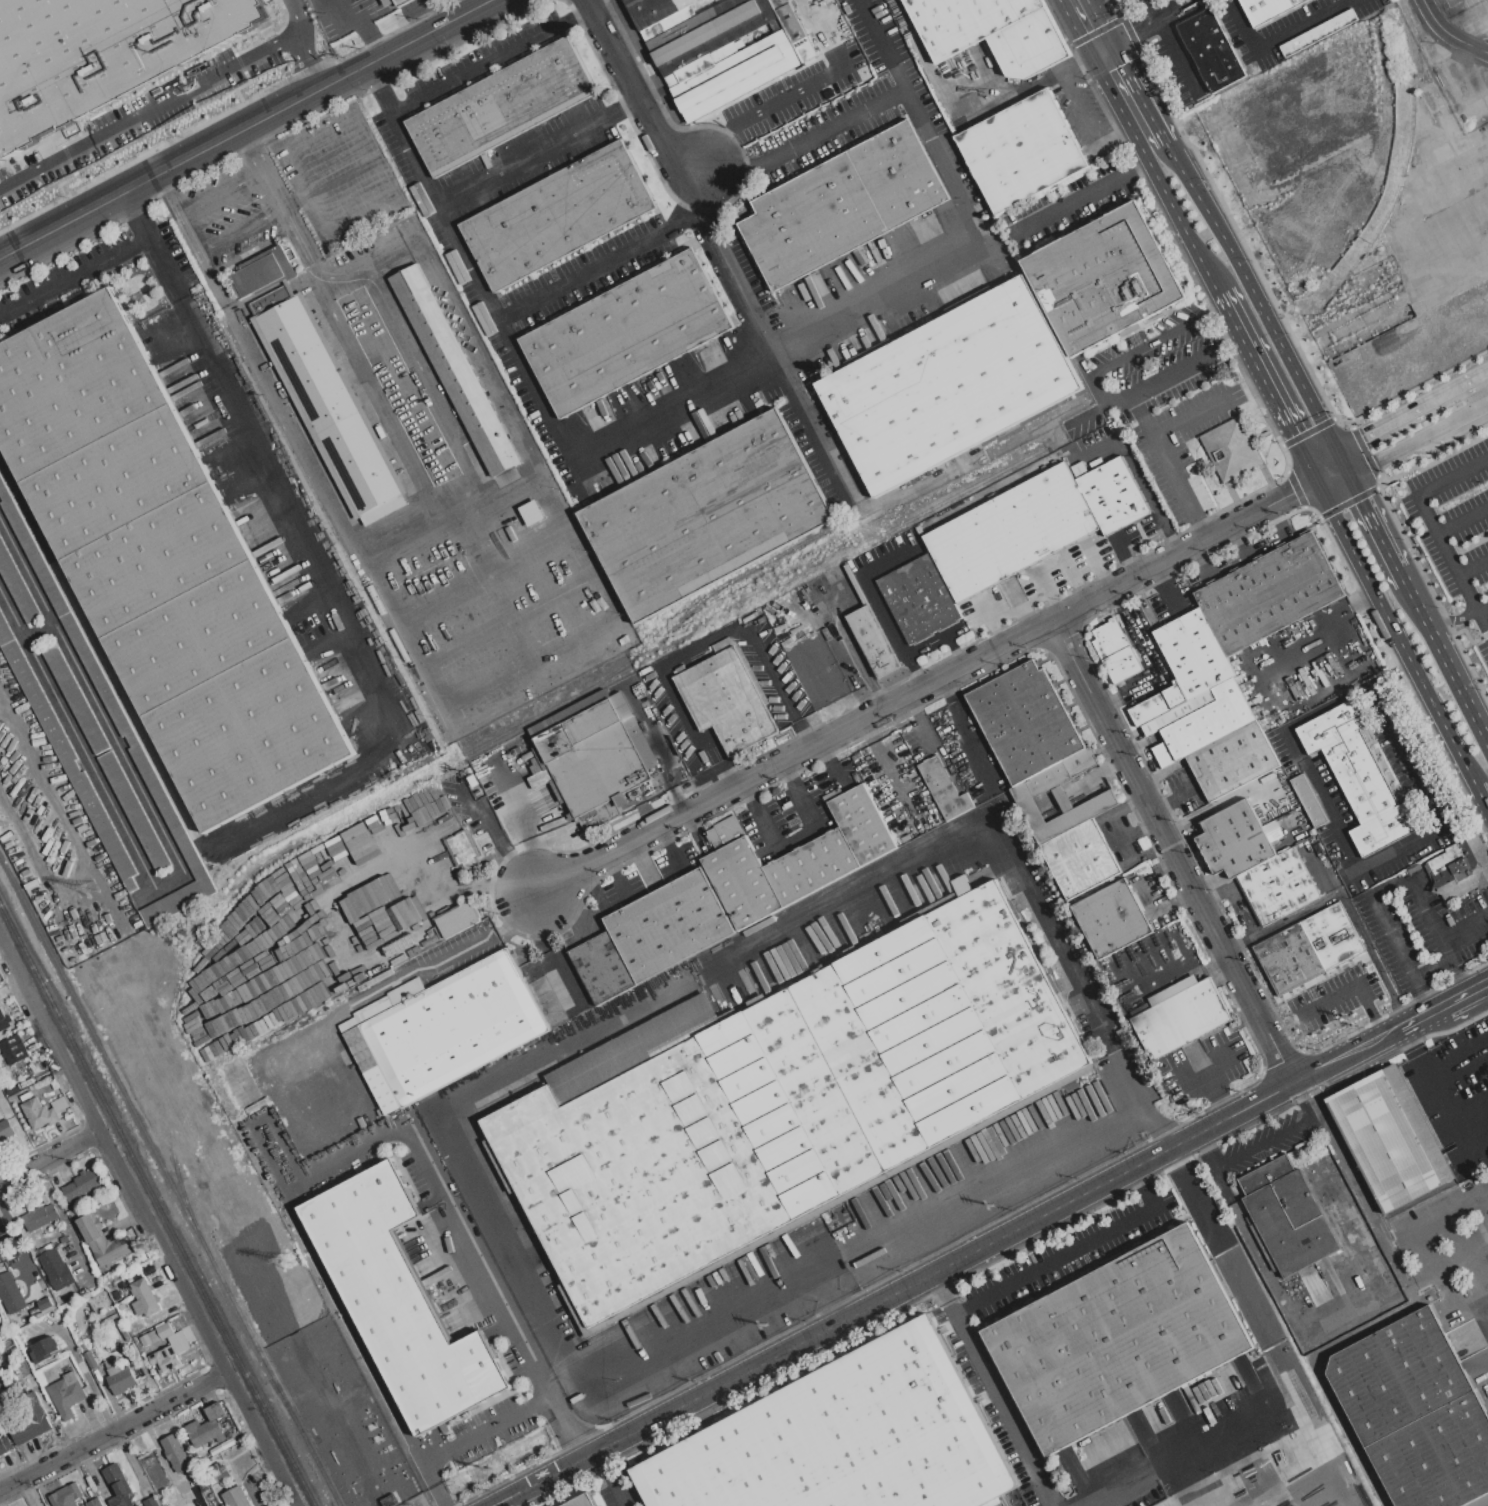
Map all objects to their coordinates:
road: (589, 1)
building: (395, 2)
road: (1153, 9)
road: (1175, 9)
building: (1267, 9)
road: (583, 15)
road: (362, 24)
road: (1085, 24)
road: (1242, 25)
road: (1303, 25)
road: (1477, 30)
building: (992, 31)
building: (1318, 32)
road: (1449, 33)
road: (1127, 34)
road: (882, 44)
road: (300, 46)
building: (719, 46)
traffic signals: (1097, 50)
building: (1210, 50)
building: (99, 54)
road: (1177, 57)
road: (1080, 61)
road: (1020, 87)
road: (379, 88)
road: (436, 89)
road: (1117, 89)
road: (635, 91)
road: (794, 93)
building: (500, 106)
road: (1080, 106)
road: (622, 107)
road: (150, 113)
road: (246, 128)
road: (1114, 128)
road: (1160, 132)
building: (1021, 151)
road: (734, 166)
road: (1138, 167)
road: (259, 169)
road: (219, 193)
road: (695, 198)
road: (1074, 202)
building: (841, 204)
road: (177, 213)
road: (1172, 213)
building: (557, 214)
road: (134, 215)
road: (681, 221)
road: (237, 229)
road: (297, 242)
road: (468, 264)
building: (263, 271)
building: (1103, 278)
road: (740, 293)
road: (1258, 307)
road: (1215, 310)
road: (858, 318)
building: (626, 332)
road: (467, 334)
road: (1234, 341)
building: (453, 369)
road: (417, 371)
building: (948, 386)
road: (1266, 386)
building: (1364, 386)
road: (1481, 390)
road: (1097, 392)
road: (1481, 396)
road: (376, 404)
building: (328, 405)
road: (1448, 408)
road: (1091, 412)
road: (232, 416)
road: (1186, 418)
traffic signals: (1292, 435)
road: (1383, 443)
building: (1230, 449)
traffic signals: (1368, 452)
road: (1163, 457)
road: (1330, 472)
road: (1138, 475)
road: (1453, 477)
building: (1396, 491)
traffic signals: (1292, 492)
building: (1113, 495)
traffic signals: (1362, 500)
building: (531, 513)
building: (706, 514)
road: (465, 520)
road: (1463, 520)
road: (1374, 525)
road: (1202, 528)
building: (919, 529)
building: (1010, 531)
road: (404, 550)
road: (1448, 553)
building: (162, 563)
road: (1474, 568)
building: (835, 574)
building: (17, 586)
road: (872, 592)
building: (1268, 593)
building: (919, 598)
road: (1113, 598)
road: (1482, 608)
road: (1343, 612)
building: (67, 619)
road: (1452, 619)
road: (1482, 620)
road: (38, 632)
road: (1394, 633)
building: (872, 641)
road: (701, 650)
road: (918, 650)
road: (955, 650)
building: (1115, 651)
road: (856, 657)
road: (1146, 658)
road: (1448, 661)
road: (417, 666)
building: (815, 668)
road: (928, 683)
road: (947, 689)
building: (727, 697)
building: (76, 699)
road: (1108, 701)
road: (914, 706)
building: (1205, 711)
building: (1025, 722)
road: (928, 731)
road: (968, 744)
road: (1407, 752)
building: (66, 756)
building: (591, 757)
road: (156, 758)
road: (830, 763)
building: (1359, 775)
building: (944, 789)
building: (1026, 793)
road: (1482, 796)
building: (1308, 800)
road: (1321, 801)
building: (134, 811)
road: (1119, 824)
road: (793, 838)
building: (1237, 839)
road: (1173, 849)
building: (464, 850)
road: (76, 851)
building: (1079, 858)
road: (177, 861)
building: (1459, 869)
building: (1278, 885)
power tower: (90, 886)
road: (1389, 888)
building: (726, 895)
road: (850, 897)
road: (1155, 912)
building: (1111, 918)
building: (457, 920)
road: (1465, 928)
road: (1055, 939)
building: (1323, 944)
road: (1433, 970)
road: (1461, 978)
road: (394, 980)
road: (1351, 987)
road: (1422, 996)
road: (1459, 1000)
building: (1178, 1015)
power tower: (1350, 1017)
road: (1416, 1019)
building: (4, 1020)
road: (1400, 1026)
building: (442, 1029)
road: (1390, 1031)
road: (1409, 1040)
building: (12, 1049)
road: (1459, 1063)
road: (1423, 1067)
road: (1208, 1075)
building: (27, 1082)
building: (12, 1089)
building: (25, 1096)
road: (1217, 1096)
power tower: (1195, 1097)
building: (780, 1099)
road: (1441, 1100)
road: (1139, 1103)
building: (59, 1104)
road: (1470, 1111)
building: (39, 1113)
road: (1313, 1116)
building: (5, 1130)
building: (1389, 1138)
road: (1258, 1145)
road: (1465, 1145)
road: (50, 1156)
road: (1014, 1173)
road: (1138, 1179)
railway: (169, 1181)
building: (81, 1186)
road: (1486, 1194)
railway: (157, 1204)
building: (73, 1211)
building: (1287, 1215)
building: (39, 1217)
road: (149, 1223)
building: (2, 1227)
road: (1420, 1228)
building: (1356, 1239)
building: (102, 1240)
road: (462, 1242)
road: (1253, 1243)
power tower: (150, 1246)
road: (1393, 1247)
building: (2, 1256)
building: (70, 1256)
power tower: (285, 1261)
building: (56, 1269)
building: (148, 1269)
road: (936, 1270)
road: (1479, 1271)
road: (516, 1276)
building: (129, 1279)
building: (10, 1293)
road: (941, 1294)
building: (115, 1295)
building: (144, 1298)
building: (398, 1299)
building: (41, 1307)
road: (837, 1307)
road: (965, 1307)
road: (1468, 1308)
power tower: (765, 1324)
road: (1260, 1327)
building: (156, 1334)
building: (1116, 1338)
building: (82, 1346)
building: (44, 1348)
building: (90, 1359)
building: (164, 1359)
road: (1480, 1361)
road: (81, 1370)
road: (1319, 1372)
building: (119, 1377)
building: (66, 1394)
building: (215, 1411)
building: (1415, 1412)
building: (31, 1420)
road: (113, 1429)
building: (204, 1432)
building: (0, 1434)
road: (569, 1437)
road: (467, 1438)
building: (844, 1438)
building: (5, 1444)
building: (176, 1452)
road: (1171, 1455)
road: (604, 1465)
power tower: (493, 1469)
building: (218, 1475)
building: (118, 1485)
road: (1274, 1485)
road: (617, 1492)
road: (1315, 1492)
building: (66, 1495)
building: (234, 1497)
building: (389, 1500)
building: (150, 1501)
road: (434, 1501)
building: (579, 1501)
building: (94, 1502)
road: (1482, 1502)
building: (136, 1505)

